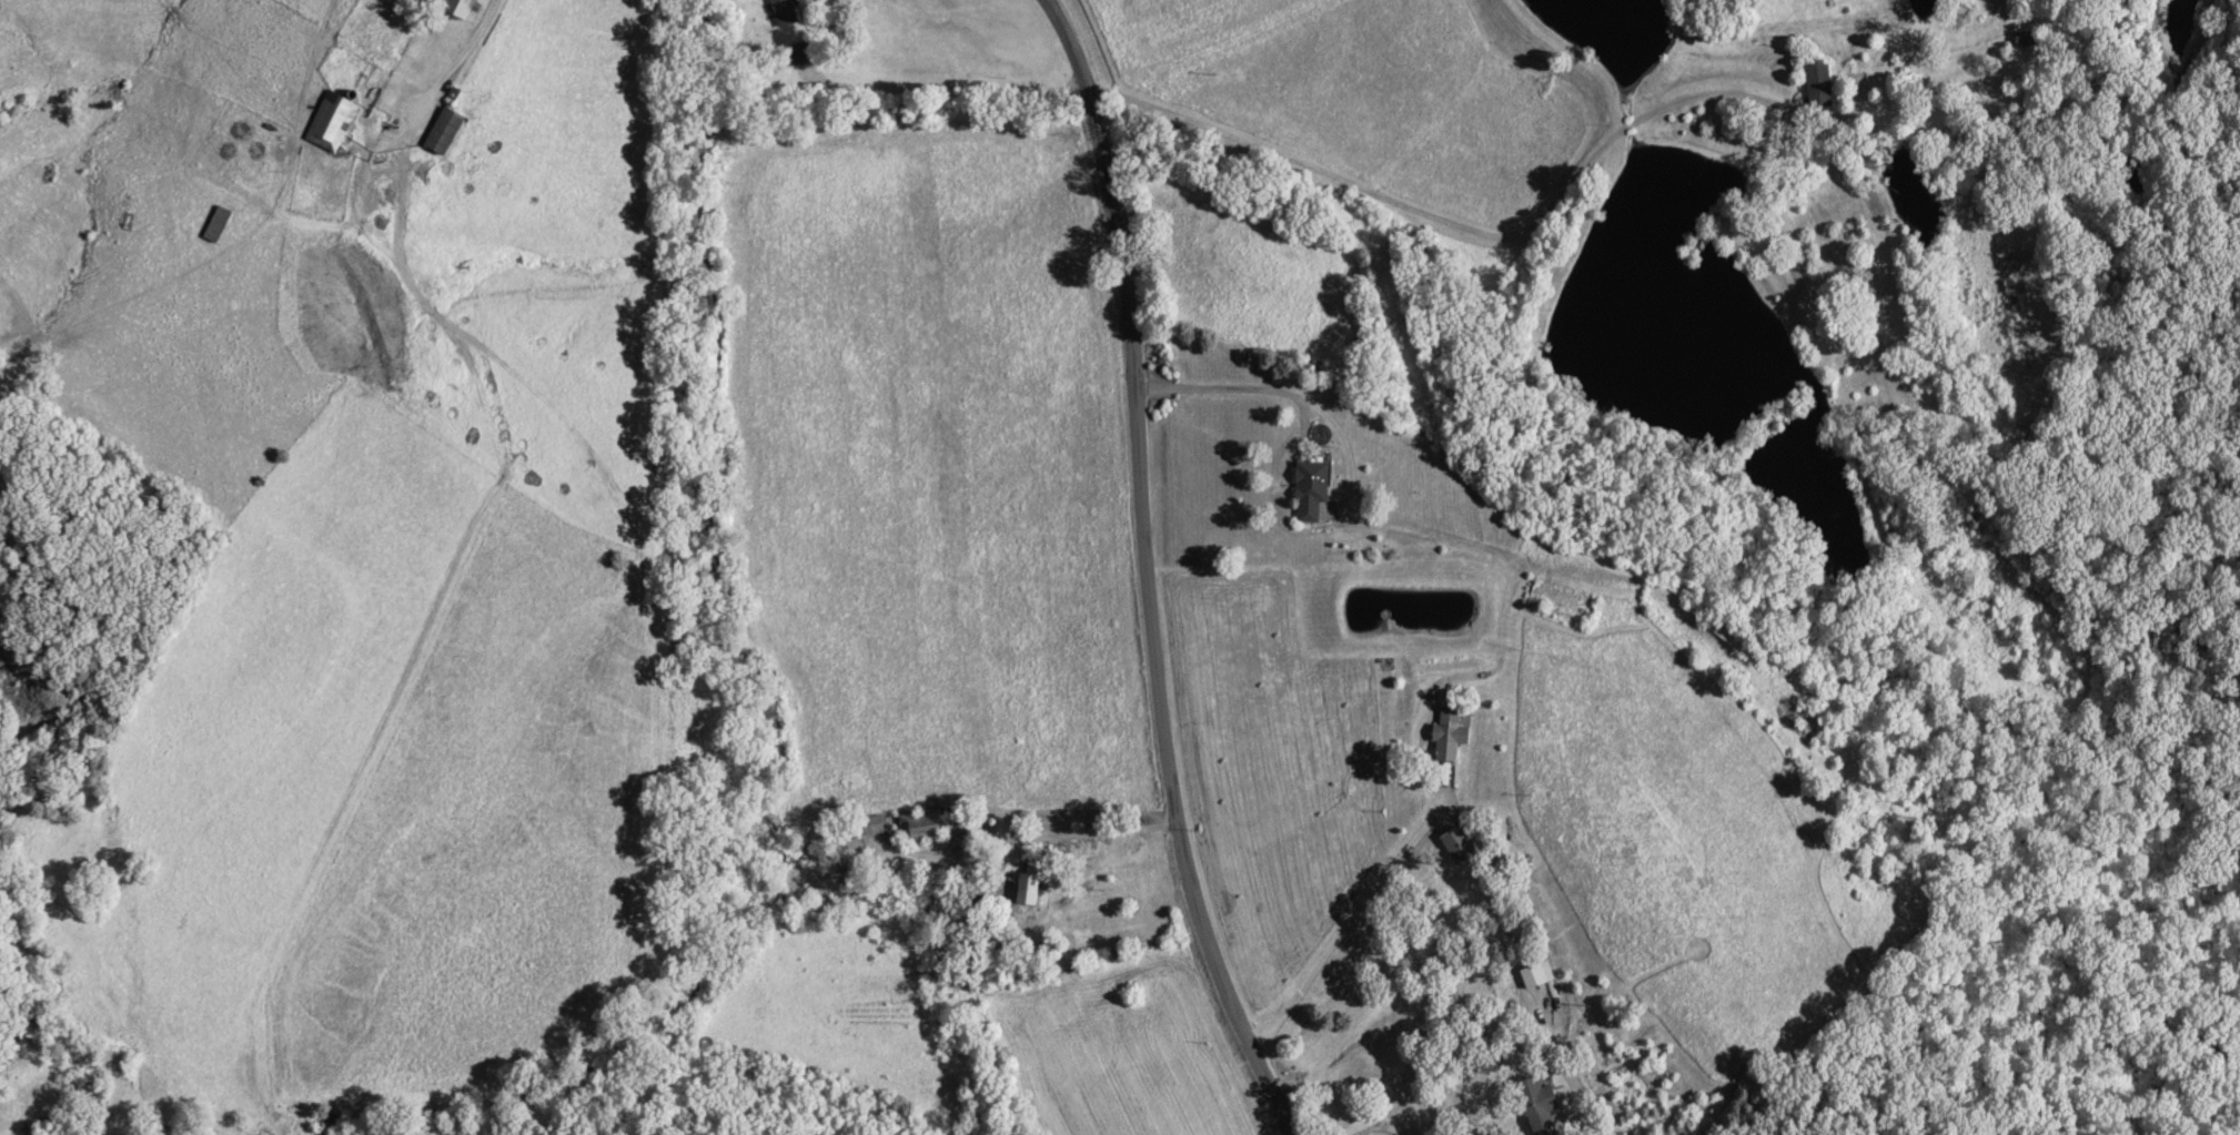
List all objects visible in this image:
building: (456, 9)
building: (781, 12)
building: (2025, 40)
road: (460, 69)
building: (1816, 87)
building: (456, 99)
building: (329, 123)
building: (441, 132)
road: (1312, 170)
building: (215, 226)
road: (1291, 396)
building: (1308, 492)
road: (1437, 538)
road: (1151, 571)
building: (1733, 639)
building: (1446, 736)
road: (1437, 809)
building: (869, 827)
building: (919, 829)
road: (1076, 840)
building: (1455, 847)
building: (1027, 884)
building: (1534, 976)
building: (1534, 1103)
road: (1542, 1109)

